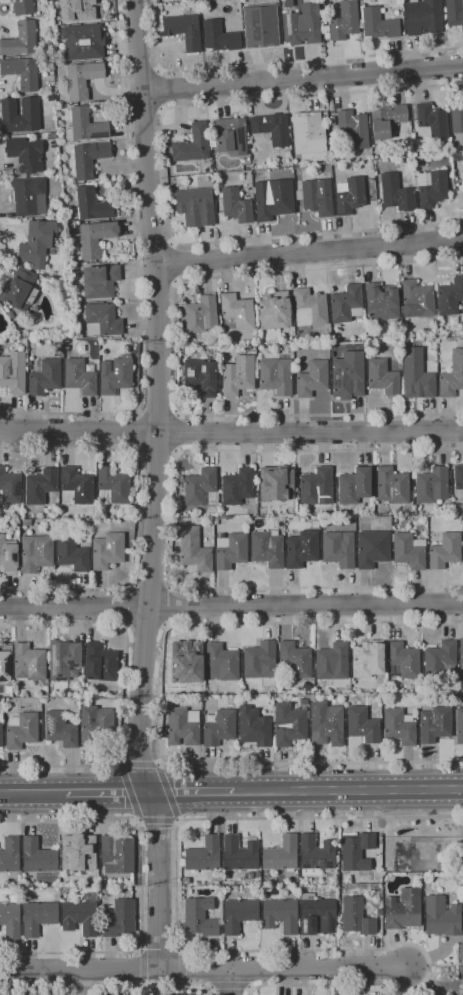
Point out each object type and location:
building: (164, 1)
building: (275, 2)
building: (361, 3)
building: (22, 7)
building: (71, 10)
building: (454, 12)
building: (424, 17)
building: (345, 21)
building: (378, 24)
building: (263, 28)
building: (184, 31)
building: (298, 31)
building: (220, 37)
building: (20, 40)
building: (80, 46)
road: (276, 62)
building: (22, 72)
road: (142, 76)
road: (303, 77)
building: (83, 79)
road: (164, 90)
building: (50, 98)
road: (144, 108)
building: (30, 111)
building: (457, 115)
building: (431, 119)
building: (387, 120)
building: (85, 126)
building: (354, 128)
building: (272, 129)
building: (305, 133)
building: (51, 136)
building: (231, 136)
building: (193, 145)
building: (25, 154)
building: (286, 154)
building: (89, 158)
road: (164, 171)
building: (462, 179)
building: (432, 189)
building: (396, 193)
building: (350, 195)
building: (29, 196)
building: (316, 196)
building: (273, 199)
building: (197, 202)
building: (236, 205)
building: (91, 206)
building: (95, 238)
building: (38, 243)
road: (309, 248)
road: (176, 263)
road: (137, 274)
building: (99, 281)
building: (18, 289)
building: (450, 296)
building: (417, 299)
building: (382, 301)
building: (347, 304)
building: (310, 308)
building: (237, 311)
building: (275, 311)
building: (10, 315)
building: (200, 315)
building: (102, 320)
building: (400, 323)
building: (373, 325)
building: (435, 343)
building: (333, 344)
road: (175, 346)
building: (58, 348)
building: (182, 348)
building: (66, 352)
building: (433, 359)
building: (13, 372)
building: (115, 375)
building: (452, 375)
building: (44, 376)
building: (276, 376)
building: (383, 376)
building: (80, 377)
building: (200, 377)
building: (347, 377)
building: (239, 378)
building: (418, 378)
building: (312, 379)
road: (157, 397)
road: (157, 409)
road: (137, 432)
road: (179, 433)
road: (231, 434)
road: (156, 454)
building: (458, 477)
building: (78, 485)
building: (355, 485)
building: (392, 485)
building: (431, 485)
building: (40, 486)
building: (238, 486)
building: (10, 487)
building: (114, 487)
building: (200, 487)
building: (276, 487)
building: (317, 487)
building: (300, 514)
road: (136, 516)
building: (215, 521)
road: (170, 522)
building: (281, 523)
building: (315, 524)
building: (462, 539)
building: (372, 548)
building: (195, 549)
building: (267, 549)
building: (302, 549)
building: (339, 549)
building: (231, 550)
building: (445, 550)
building: (108, 551)
building: (409, 551)
building: (36, 553)
building: (71, 553)
building: (8, 554)
road: (150, 586)
road: (169, 606)
road: (231, 607)
road: (125, 608)
road: (145, 628)
building: (461, 652)
building: (258, 659)
building: (295, 659)
building: (368, 659)
building: (330, 660)
building: (440, 660)
building: (403, 661)
building: (187, 662)
building: (222, 662)
building: (28, 663)
building: (65, 663)
building: (100, 663)
building: (5, 666)
building: (52, 689)
road: (125, 690)
road: (159, 697)
building: (30, 705)
building: (327, 723)
building: (434, 724)
building: (362, 725)
building: (183, 726)
building: (399, 726)
building: (459, 726)
building: (98, 727)
building: (219, 727)
building: (254, 728)
building: (291, 728)
building: (60, 729)
building: (21, 730)
building: (1, 734)
road: (116, 760)
road: (159, 763)
road: (138, 764)
road: (348, 790)
road: (130, 791)
road: (168, 792)
road: (190, 792)
road: (106, 793)
road: (33, 794)
road: (156, 820)
road: (136, 821)
road: (179, 823)
building: (356, 852)
building: (78, 853)
building: (239, 853)
building: (117, 854)
building: (204, 854)
building: (282, 854)
building: (10, 855)
building: (315, 855)
building: (37, 858)
road: (158, 880)
building: (186, 881)
road: (141, 886)
building: (230, 888)
building: (403, 909)
building: (379, 912)
building: (239, 914)
building: (280, 915)
building: (317, 915)
building: (200, 916)
building: (441, 916)
building: (38, 917)
building: (80, 917)
building: (356, 917)
building: (119, 918)
building: (10, 920)
road: (178, 949)
road: (140, 950)
road: (205, 950)
road: (158, 951)
building: (460, 952)
road: (181, 964)
road: (141, 965)
road: (319, 968)
road: (156, 969)
road: (40, 971)
road: (181, 981)
road: (82, 982)
road: (142, 982)
road: (231, 982)
road: (108, 983)
road: (229, 985)
road: (210, 986)
road: (249, 987)
parking lot: (74, 993)
building: (190, 994)
building: (449, 994)

